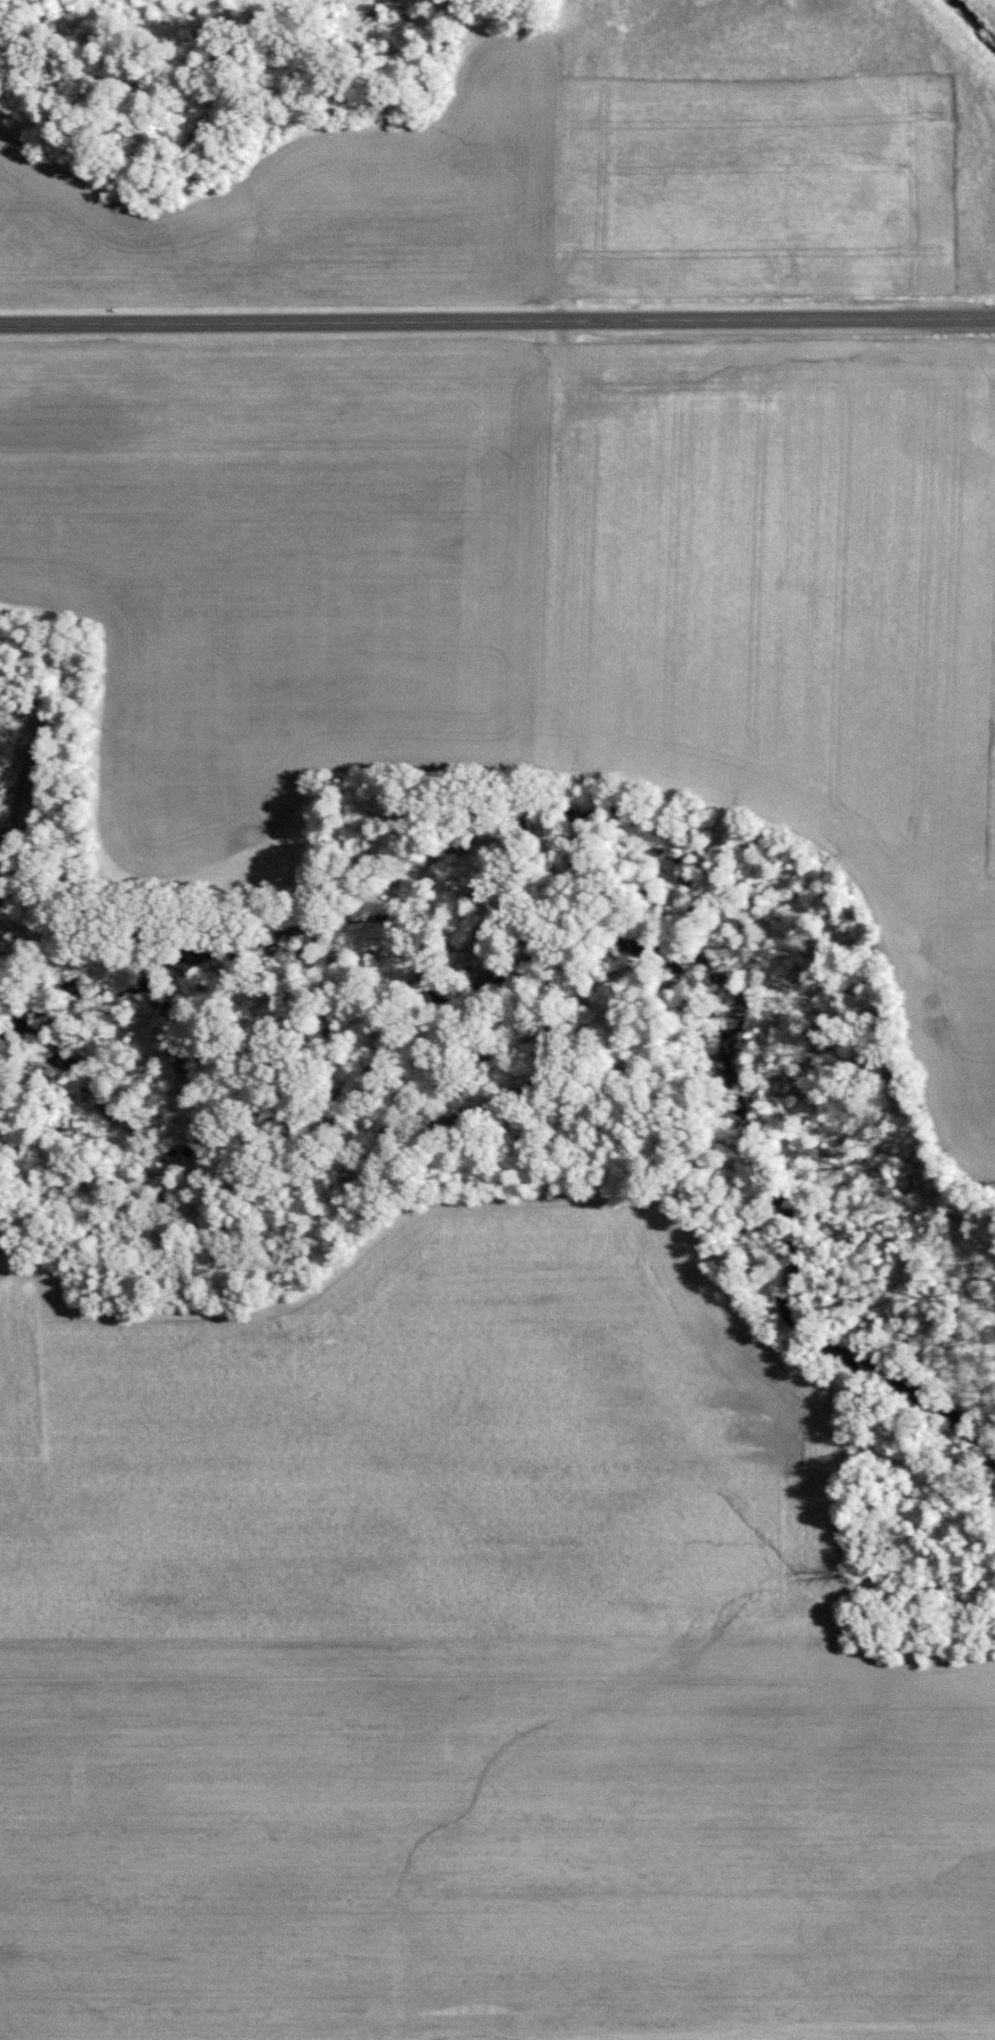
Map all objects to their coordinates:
road: (497, 321)
river: (517, 869)

